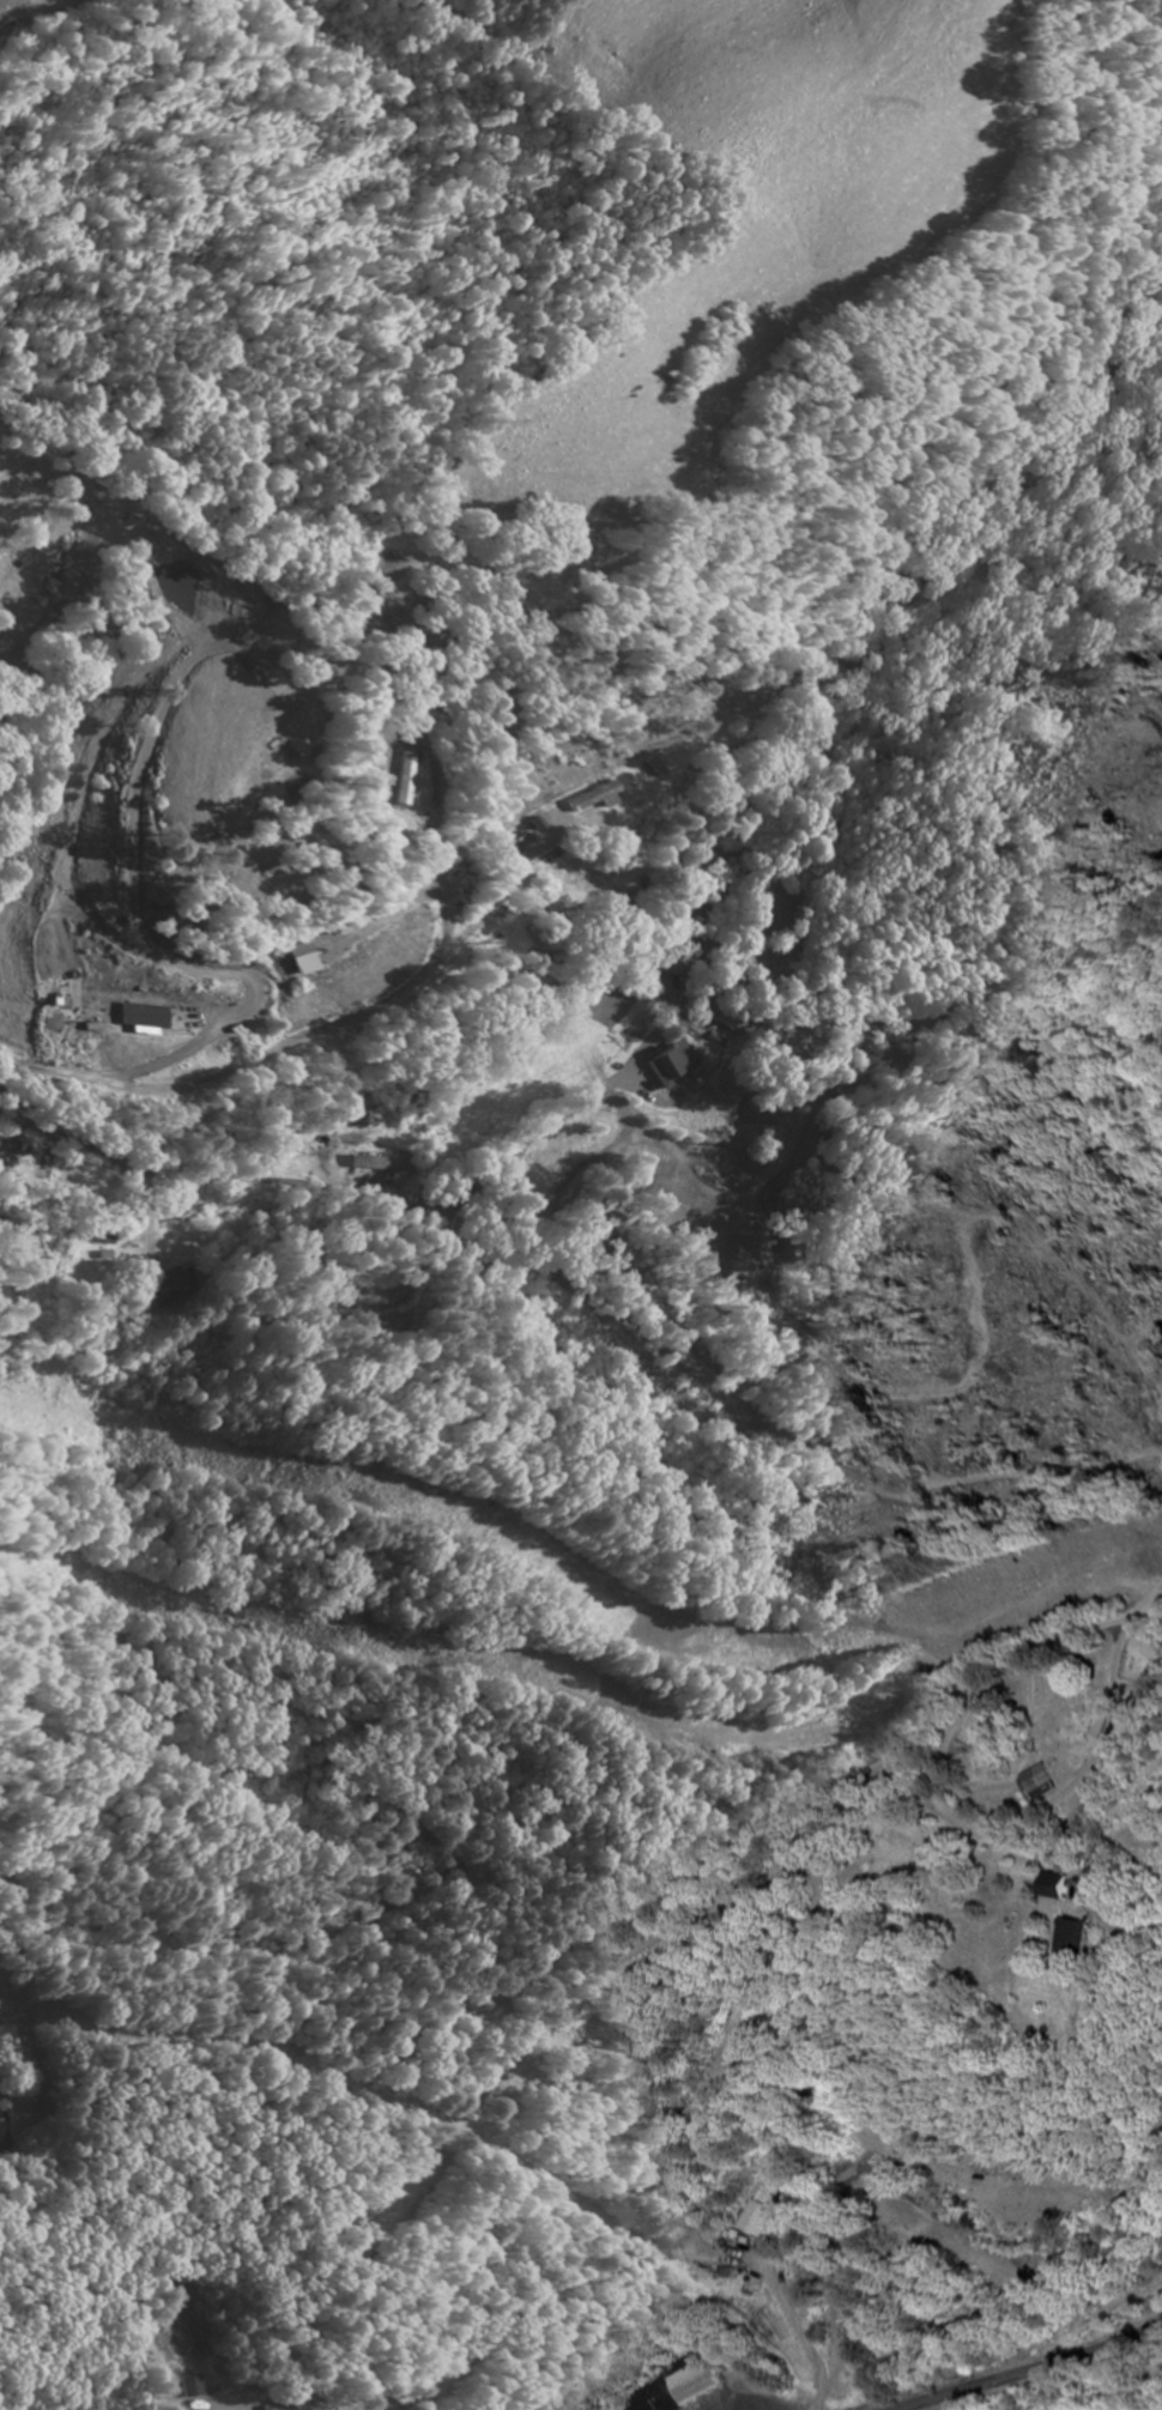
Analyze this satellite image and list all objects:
building: (401, 781)
building: (592, 800)
road: (441, 830)
building: (664, 967)
building: (59, 968)
road: (349, 1018)
building: (150, 1023)
building: (668, 1067)
building: (371, 1165)
road: (314, 1187)
road: (1160, 1598)
park: (1040, 1710)
road: (954, 1773)
building: (1039, 1785)
building: (1049, 1890)
building: (1071, 1939)
building: (756, 2215)
building: (898, 2216)
road: (397, 2252)
road: (277, 2272)
road: (225, 2294)
road: (1033, 2369)
building: (196, 2390)
building: (682, 2390)

